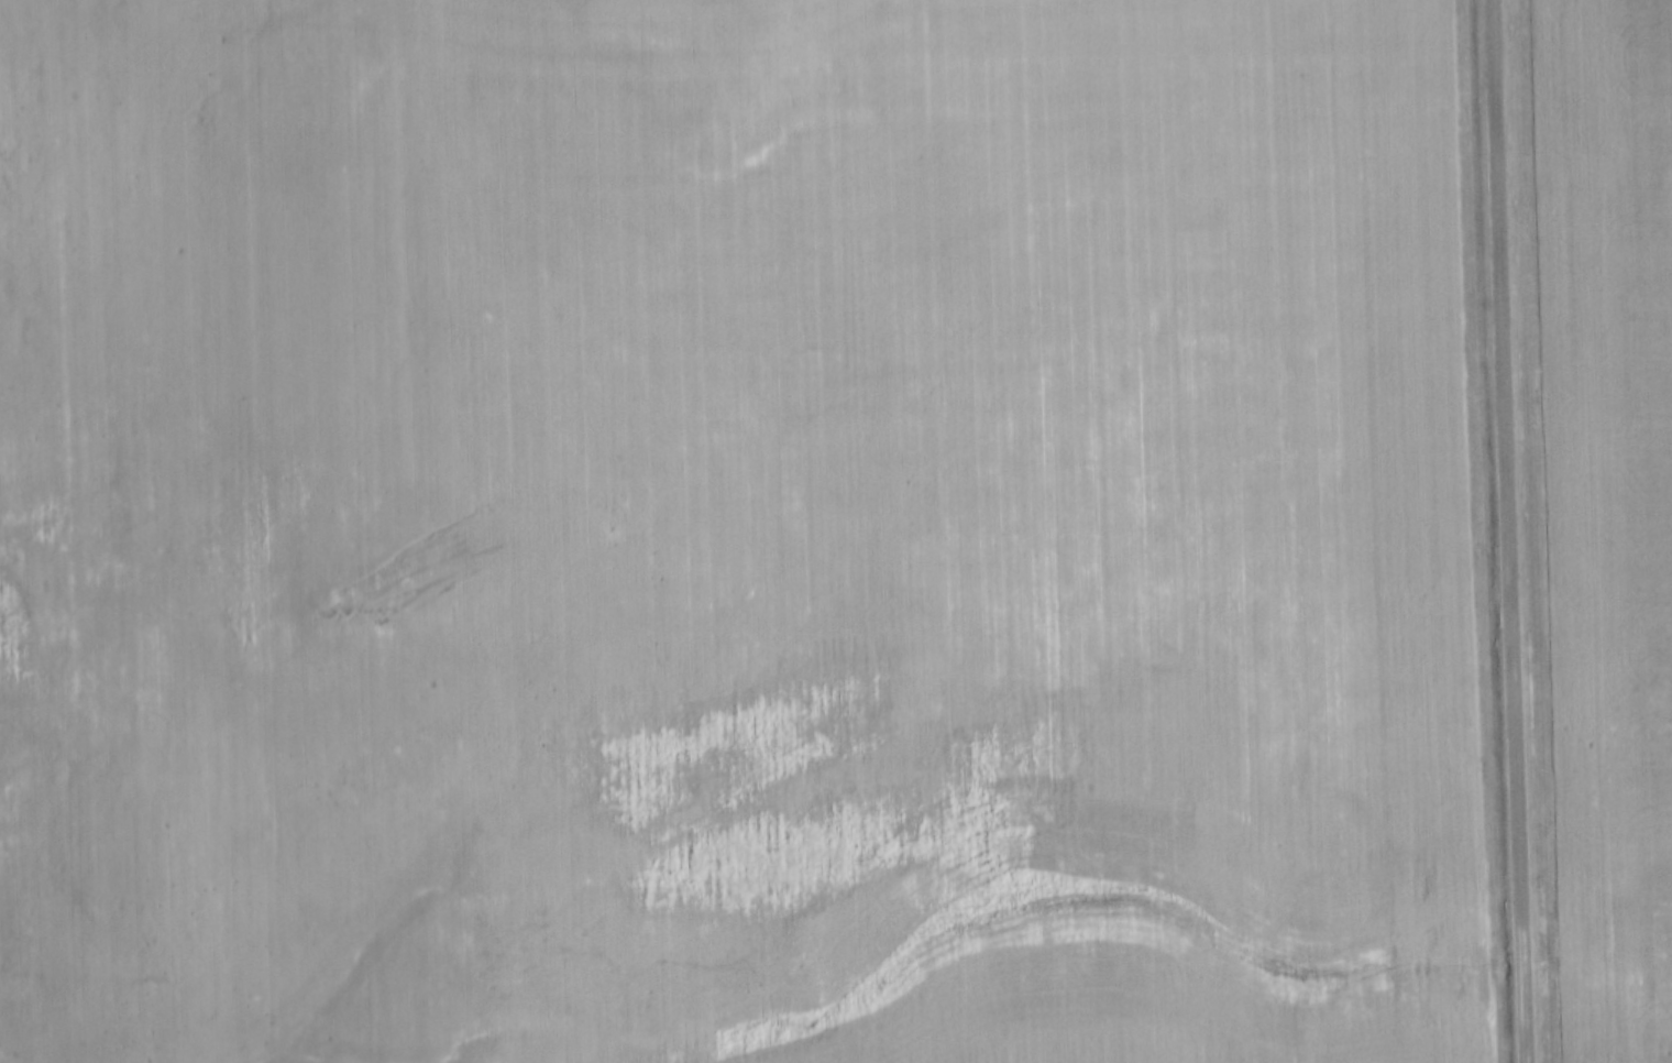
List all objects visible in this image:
road: (1510, 530)

